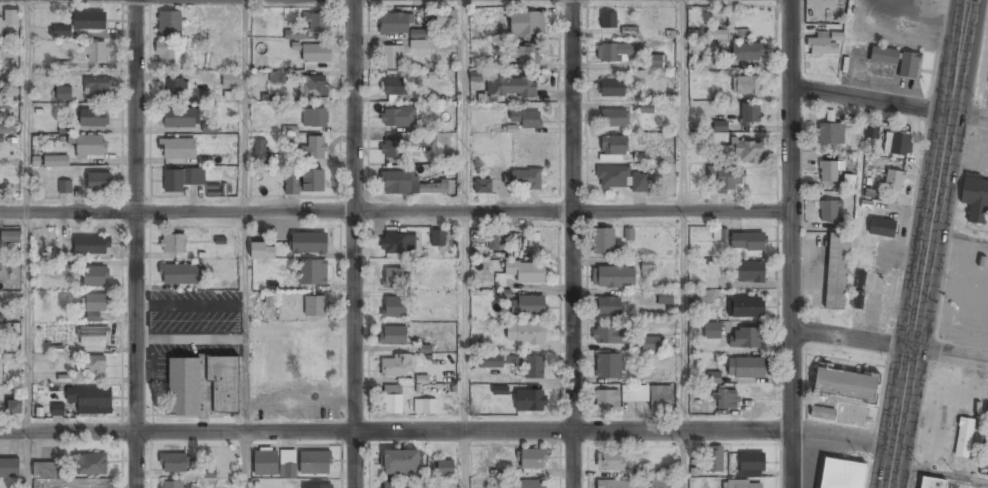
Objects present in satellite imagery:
building: (489, 14)
building: (446, 20)
building: (9, 21)
building: (89, 22)
building: (608, 22)
building: (170, 25)
building: (317, 25)
building: (527, 25)
building: (403, 30)
building: (59, 32)
building: (727, 36)
building: (821, 44)
building: (618, 53)
building: (748, 53)
building: (96, 54)
building: (316, 54)
building: (883, 55)
building: (168, 56)
building: (524, 56)
building: (393, 58)
building: (712, 61)
building: (655, 63)
building: (908, 64)
building: (62, 65)
building: (278, 78)
building: (231, 81)
building: (97, 87)
building: (746, 87)
building: (314, 88)
building: (393, 88)
building: (516, 88)
building: (172, 89)
building: (610, 89)
building: (63, 94)
building: (204, 98)
road: (889, 102)
building: (647, 110)
building: (750, 115)
building: (93, 119)
building: (179, 119)
building: (315, 119)
building: (398, 119)
building: (615, 119)
building: (526, 120)
building: (209, 127)
building: (719, 127)
building: (4, 129)
building: (289, 129)
building: (871, 131)
building: (829, 133)
building: (897, 144)
building: (88, 146)
building: (613, 147)
building: (315, 149)
building: (177, 150)
building: (392, 151)
building: (261, 152)
building: (746, 153)
building: (56, 162)
building: (828, 171)
building: (620, 179)
building: (182, 180)
building: (525, 180)
building: (725, 180)
building: (893, 180)
building: (312, 182)
building: (99, 183)
building: (408, 185)
building: (64, 187)
building: (291, 187)
building: (483, 187)
building: (975, 197)
building: (829, 209)
road: (395, 213)
road: (465, 215)
road: (684, 215)
road: (26, 216)
road: (244, 216)
building: (881, 227)
building: (628, 234)
building: (719, 234)
building: (10, 236)
building: (438, 239)
building: (603, 242)
building: (494, 243)
building: (747, 243)
road: (789, 243)
road: (928, 243)
road: (138, 244)
building: (173, 244)
building: (308, 244)
road: (357, 244)
road: (577, 244)
building: (398, 245)
building: (91, 246)
building: (263, 252)
building: (648, 267)
building: (836, 271)
building: (311, 273)
building: (750, 273)
building: (526, 274)
building: (179, 276)
building: (95, 278)
building: (614, 278)
building: (393, 279)
building: (859, 279)
building: (701, 297)
building: (665, 299)
building: (857, 299)
building: (94, 307)
building: (315, 307)
building: (394, 308)
building: (528, 308)
building: (608, 308)
building: (745, 308)
building: (712, 331)
building: (525, 334)
building: (393, 336)
building: (94, 337)
building: (608, 337)
building: (746, 339)
building: (652, 345)
road: (888, 345)
building: (1, 358)
building: (492, 362)
building: (397, 366)
building: (530, 366)
building: (91, 367)
building: (609, 368)
building: (746, 369)
building: (713, 377)
building: (844, 383)
building: (224, 386)
building: (184, 387)
building: (635, 395)
building: (661, 399)
building: (393, 400)
building: (727, 400)
building: (91, 401)
building: (530, 401)
building: (606, 403)
building: (426, 406)
building: (14, 408)
building: (57, 409)
building: (822, 413)
building: (852, 415)
road: (400, 431)
building: (963, 437)
road: (846, 442)
road: (465, 459)
road: (684, 459)
road: (26, 460)
road: (245, 460)
building: (714, 460)
building: (533, 461)
building: (611, 461)
building: (401, 463)
building: (265, 464)
building: (287, 464)
building: (315, 464)
building: (174, 465)
building: (91, 466)
building: (752, 466)
building: (10, 469)
building: (446, 469)
road: (939, 470)
building: (45, 471)
building: (640, 471)
building: (842, 474)
building: (662, 483)
building: (931, 483)
building: (530, 484)
building: (171, 485)
building: (395, 485)
building: (614, 485)
building: (743, 485)
building: (318, 486)

